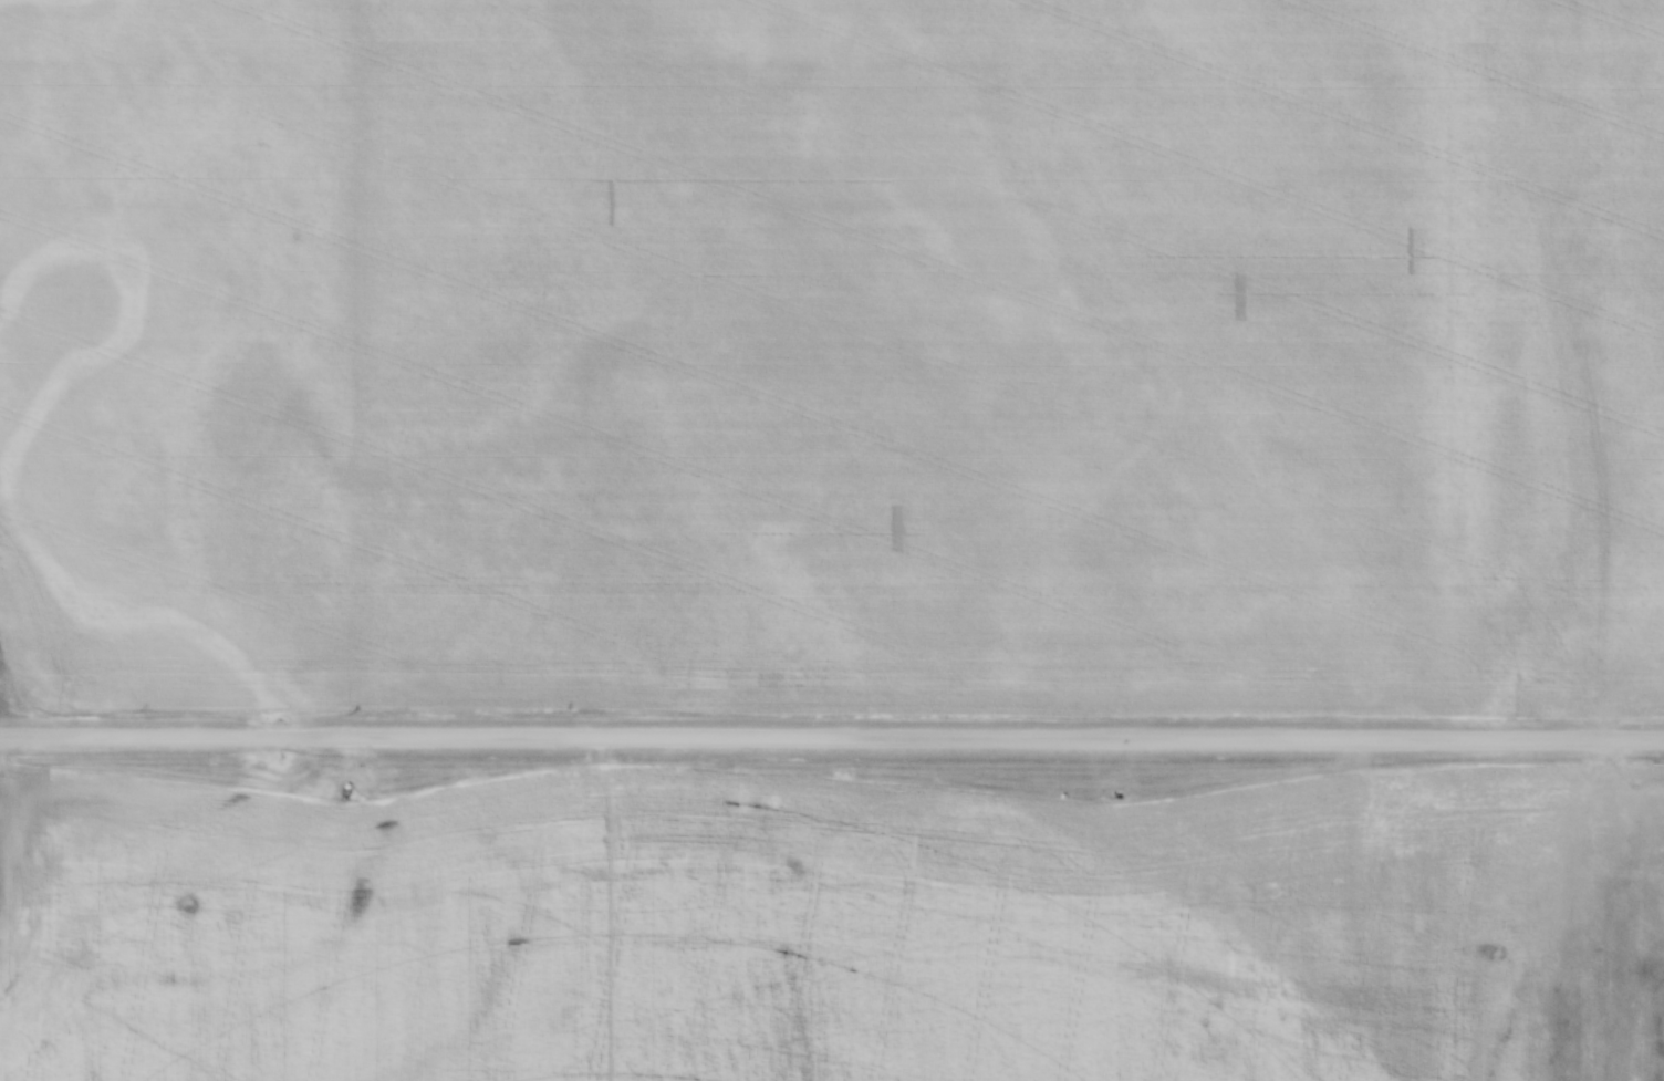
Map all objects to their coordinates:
road: (831, 745)

